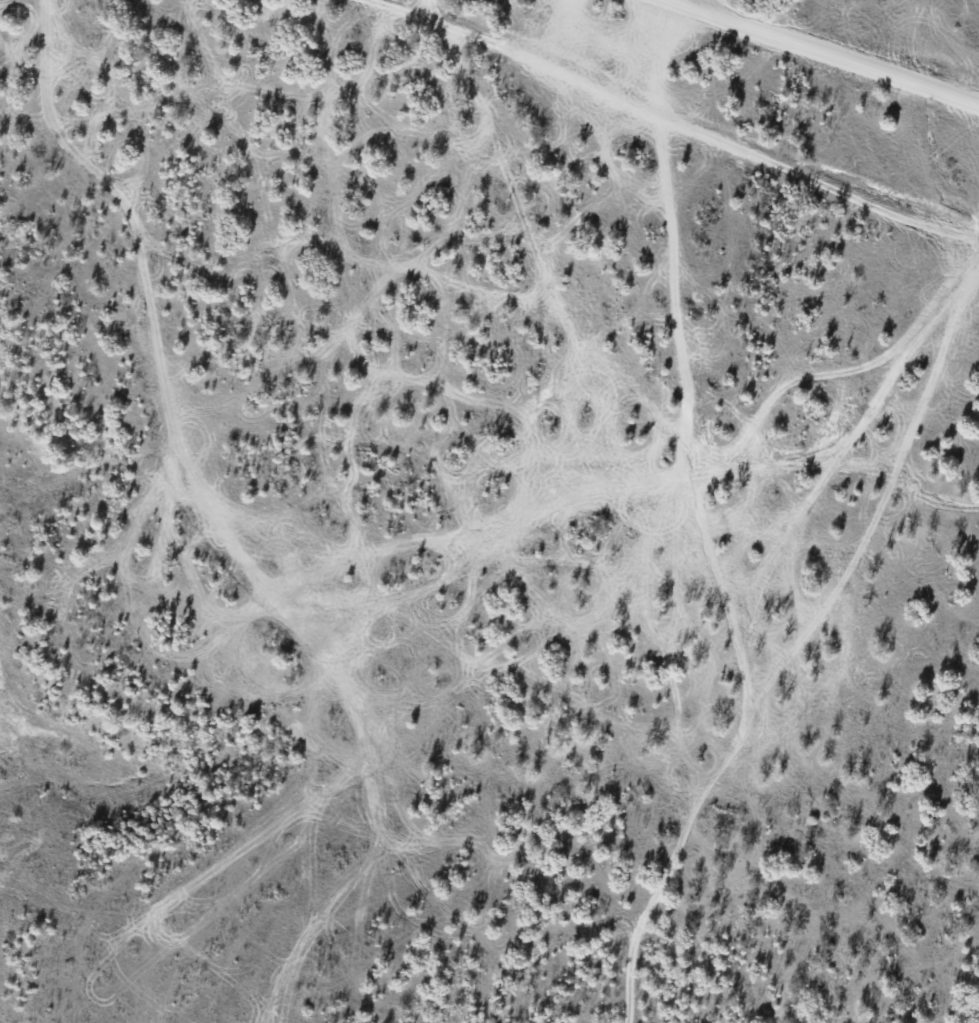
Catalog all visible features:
road: (835, 50)

